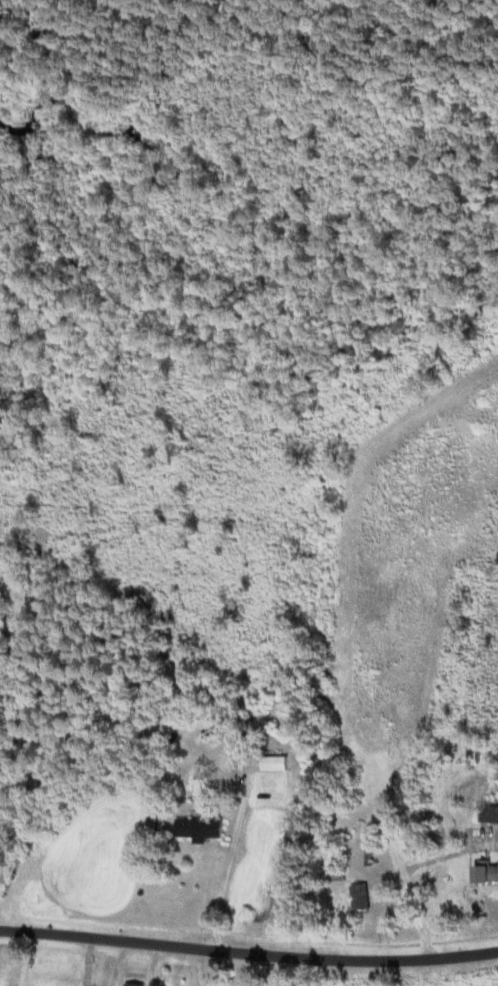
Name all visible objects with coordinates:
building: (276, 763)
building: (203, 829)
building: (488, 874)
building: (362, 898)
road: (249, 932)
building: (136, 984)

